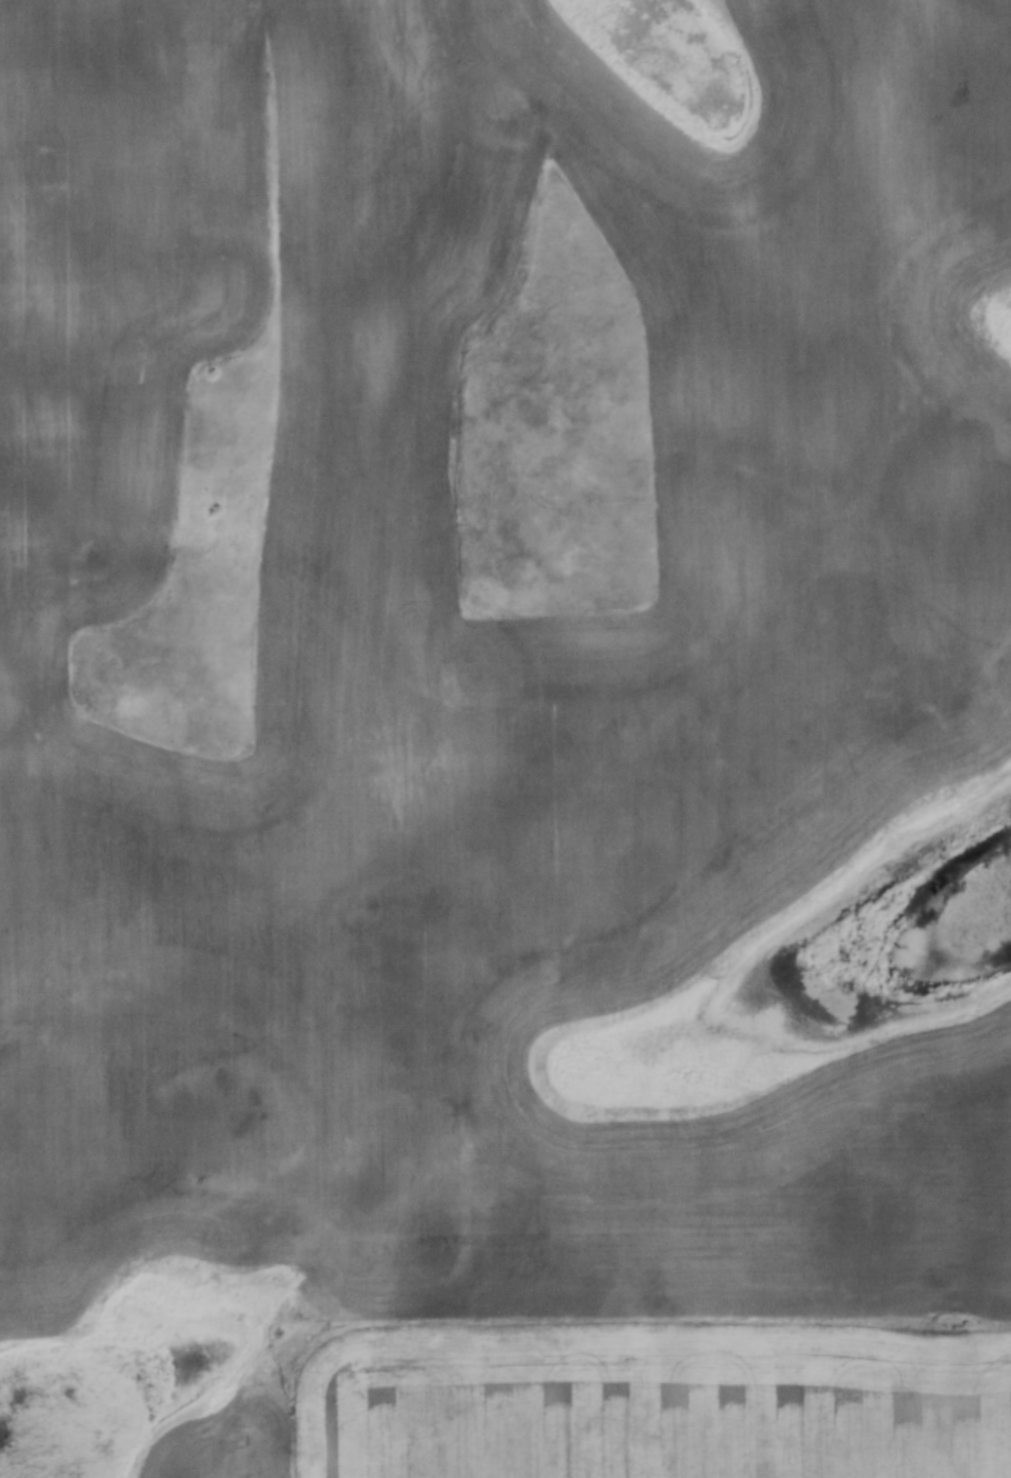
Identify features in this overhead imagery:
road: (925, 865)

